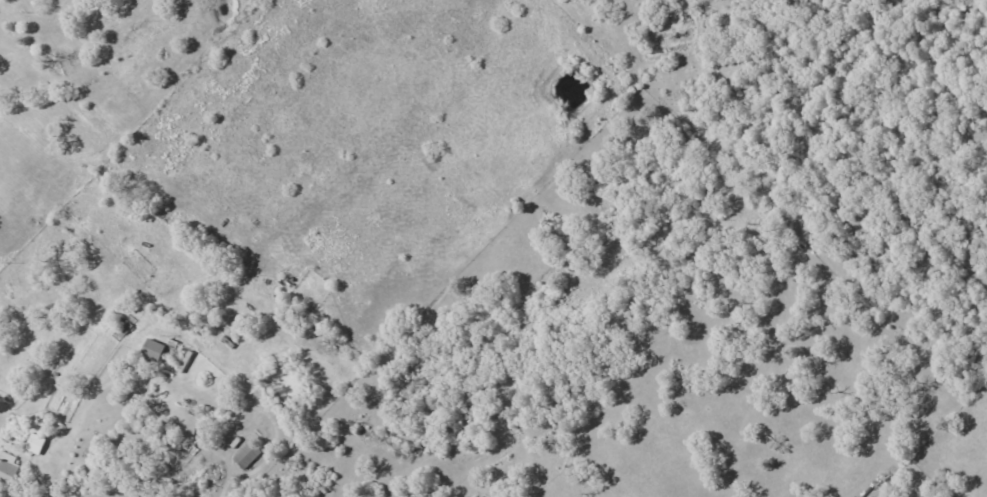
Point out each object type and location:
building: (154, 351)
building: (36, 445)
building: (248, 456)
building: (9, 470)

